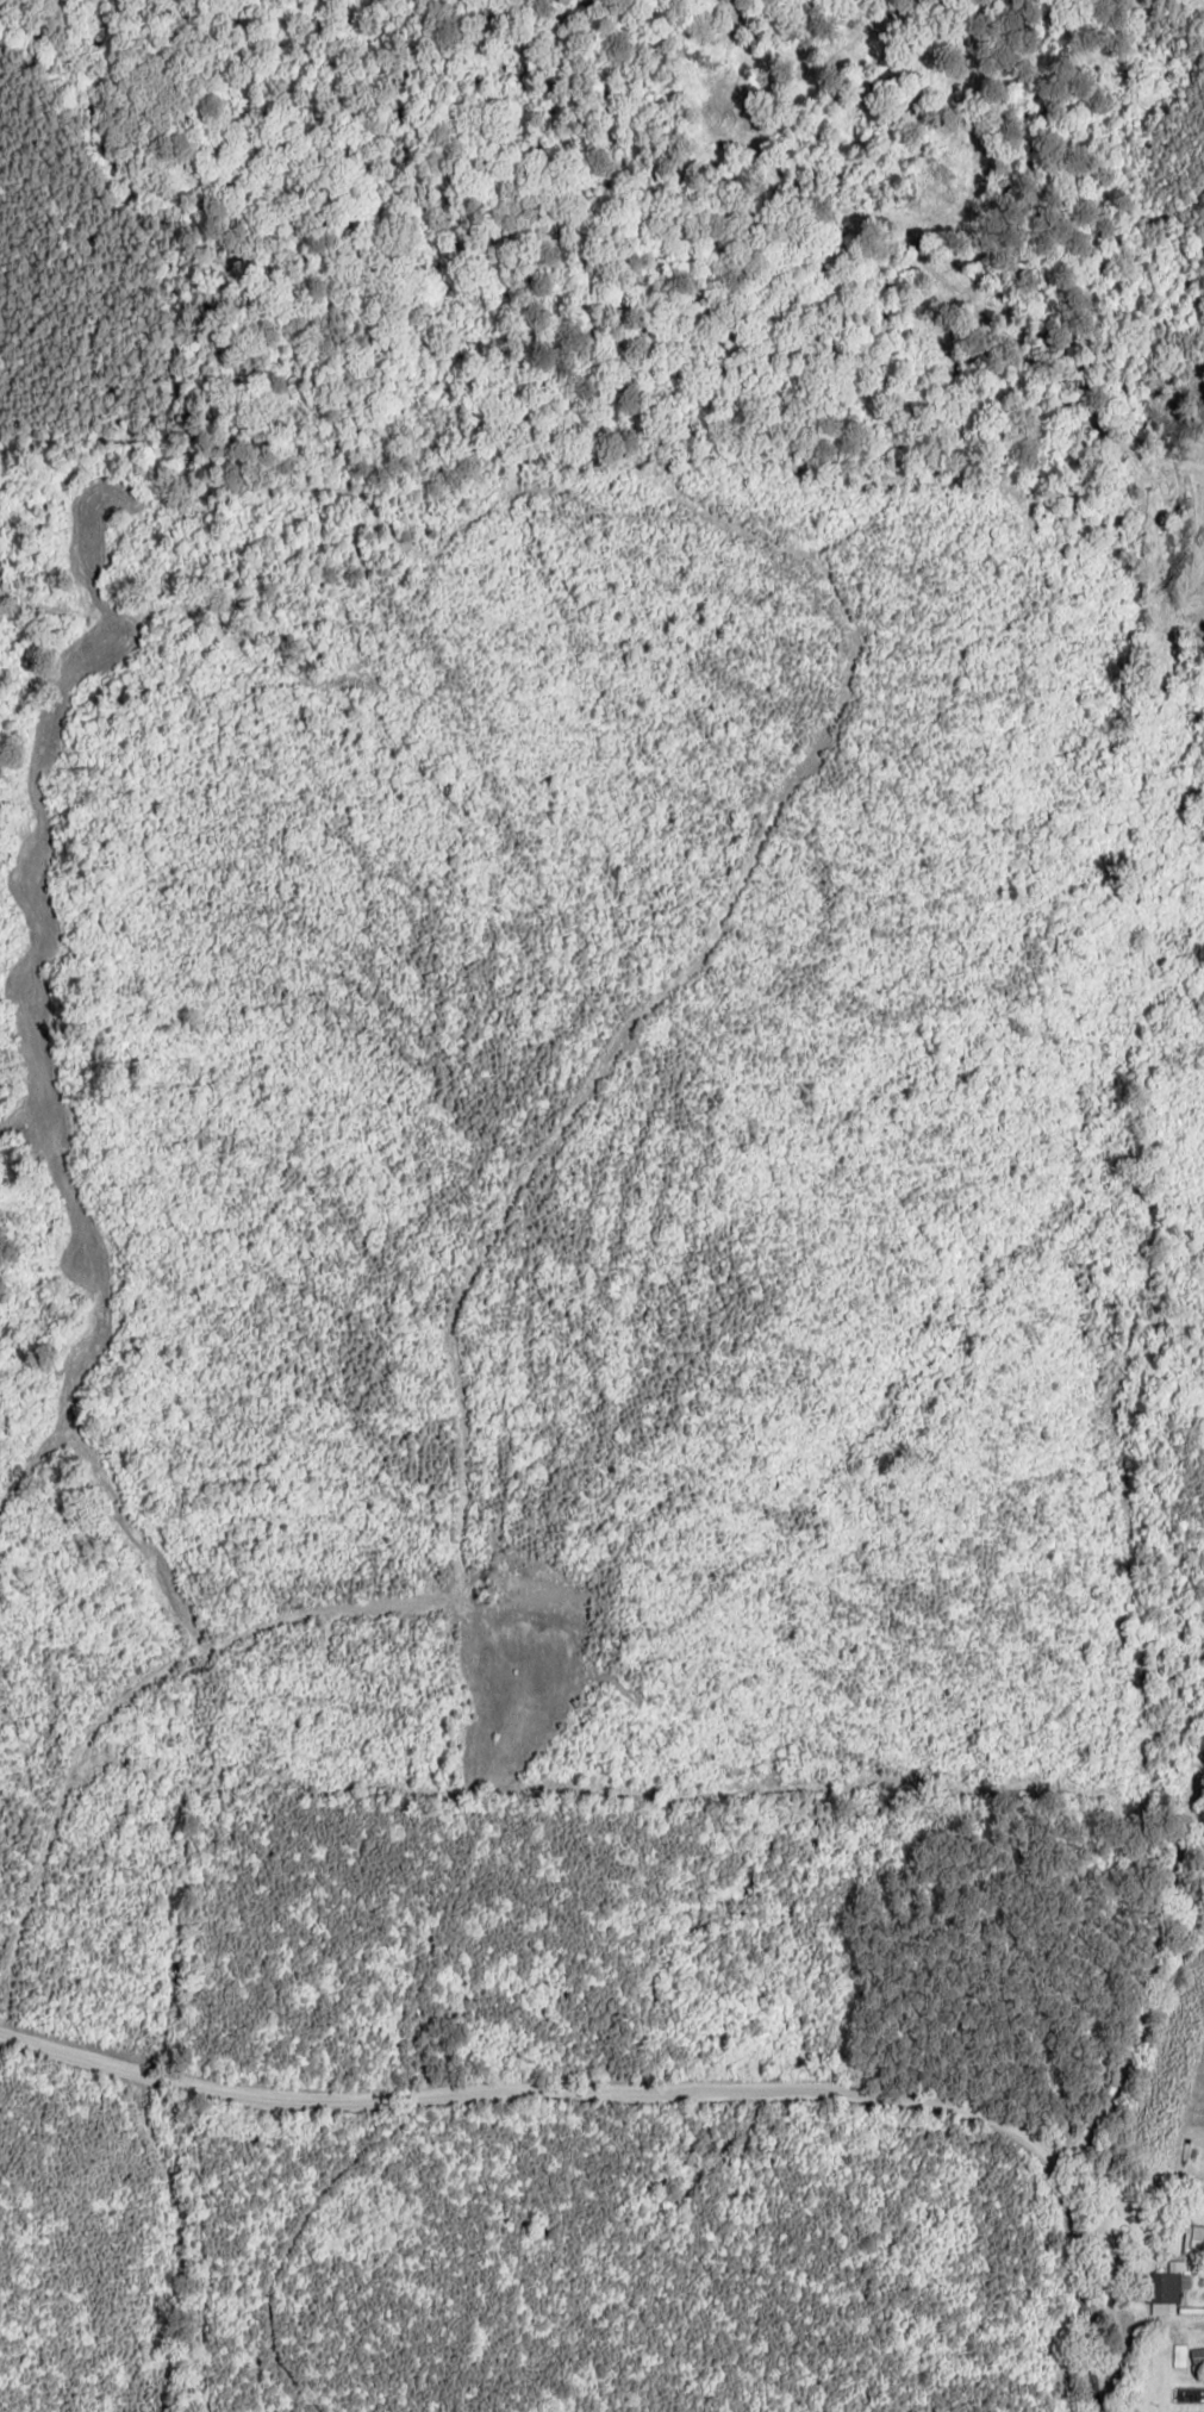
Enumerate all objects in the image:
road: (551, 2099)
road: (1155, 2099)
building: (1177, 2275)
road: (1087, 2314)
building: (1197, 2355)

